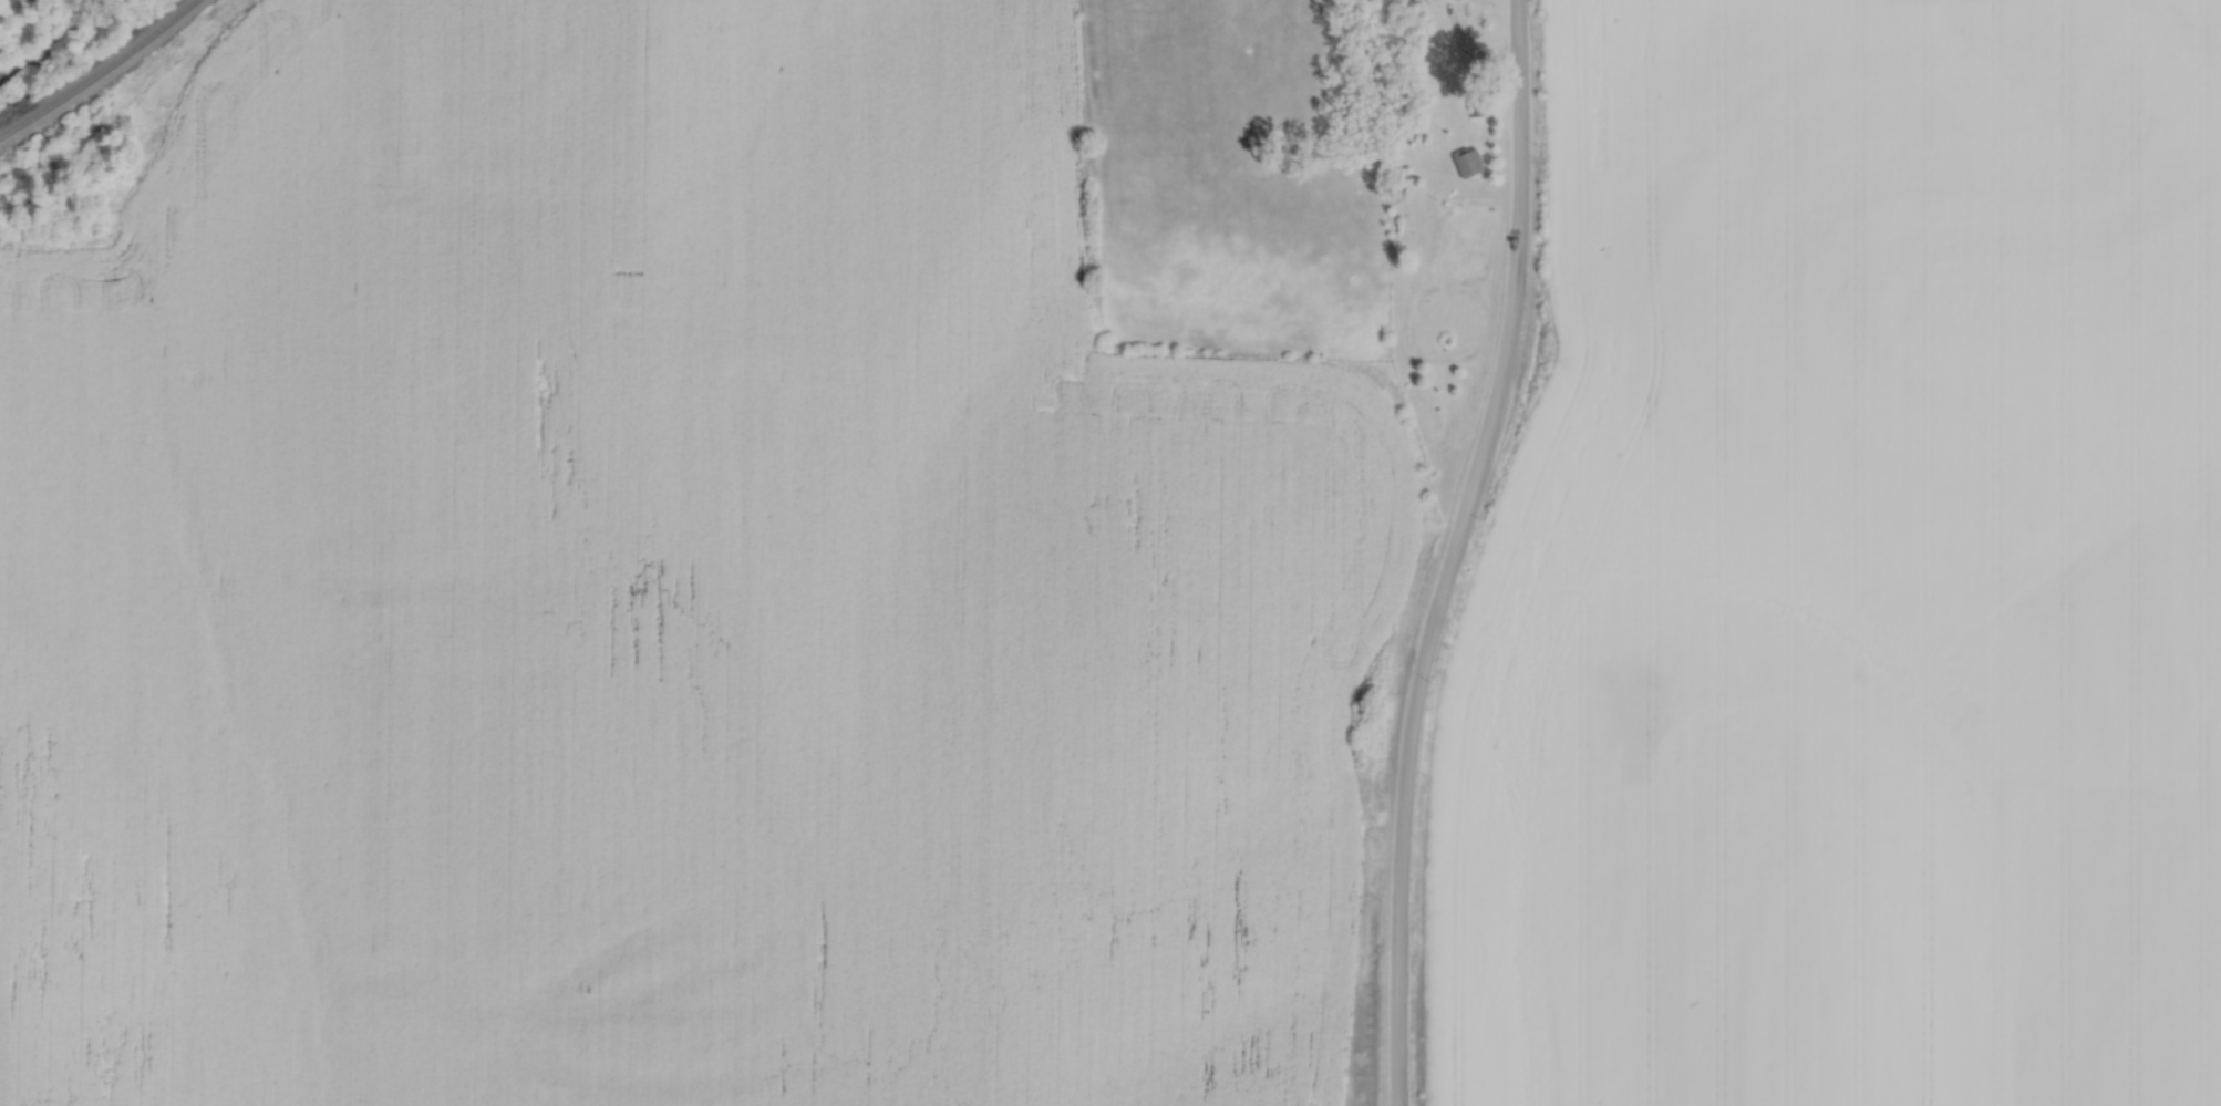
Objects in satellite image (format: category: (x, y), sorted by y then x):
railway: (100, 72)
building: (1477, 104)
building: (1474, 162)
road: (1454, 551)

